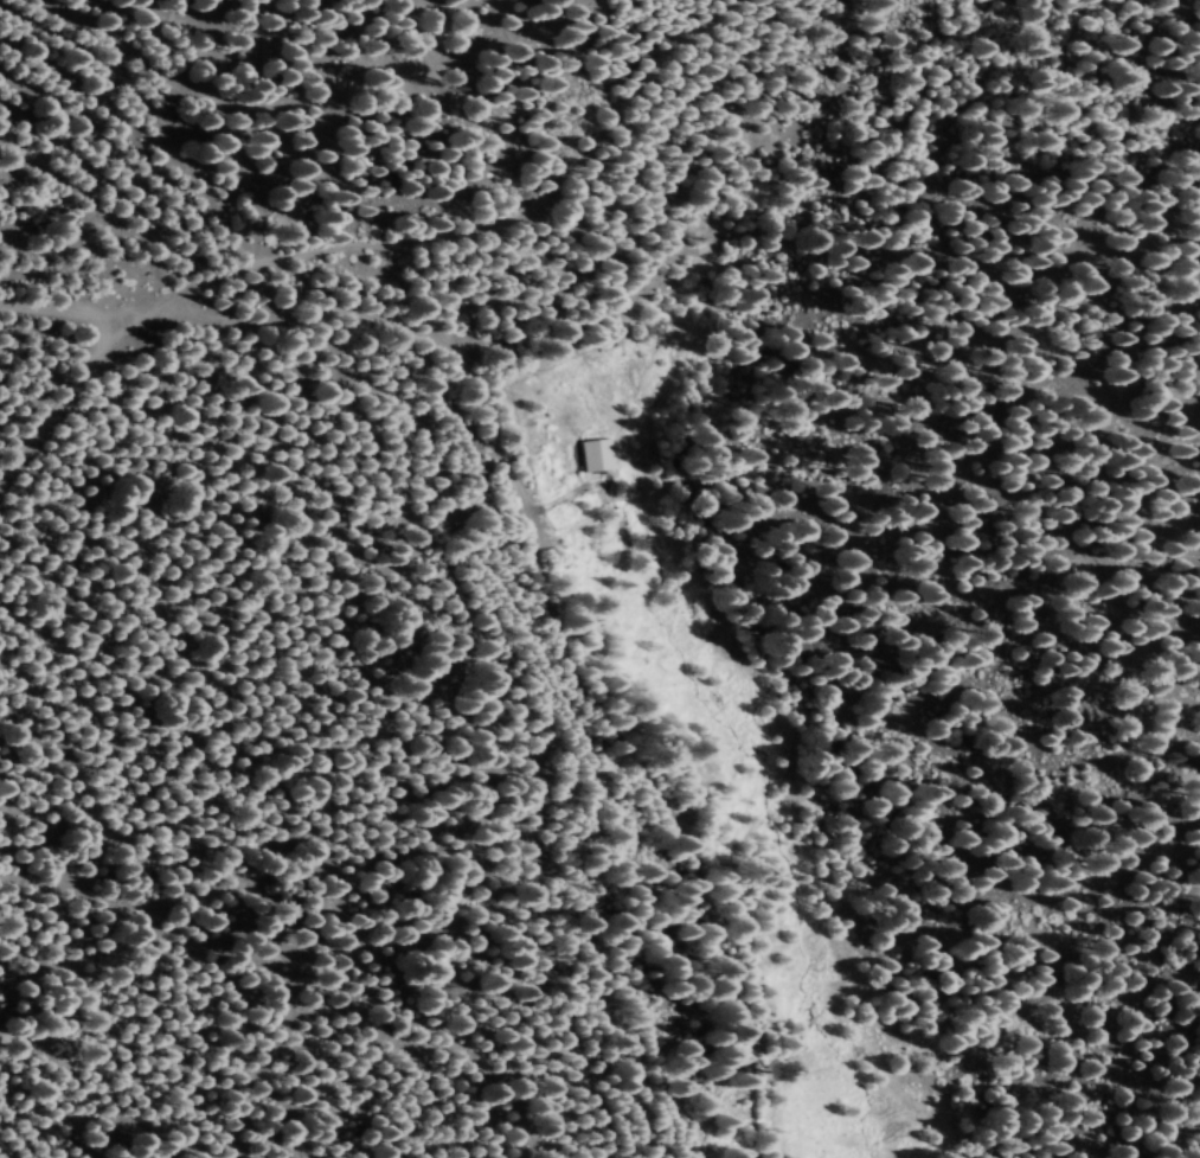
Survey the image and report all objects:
road: (386, 237)
road: (218, 335)
building: (599, 454)

